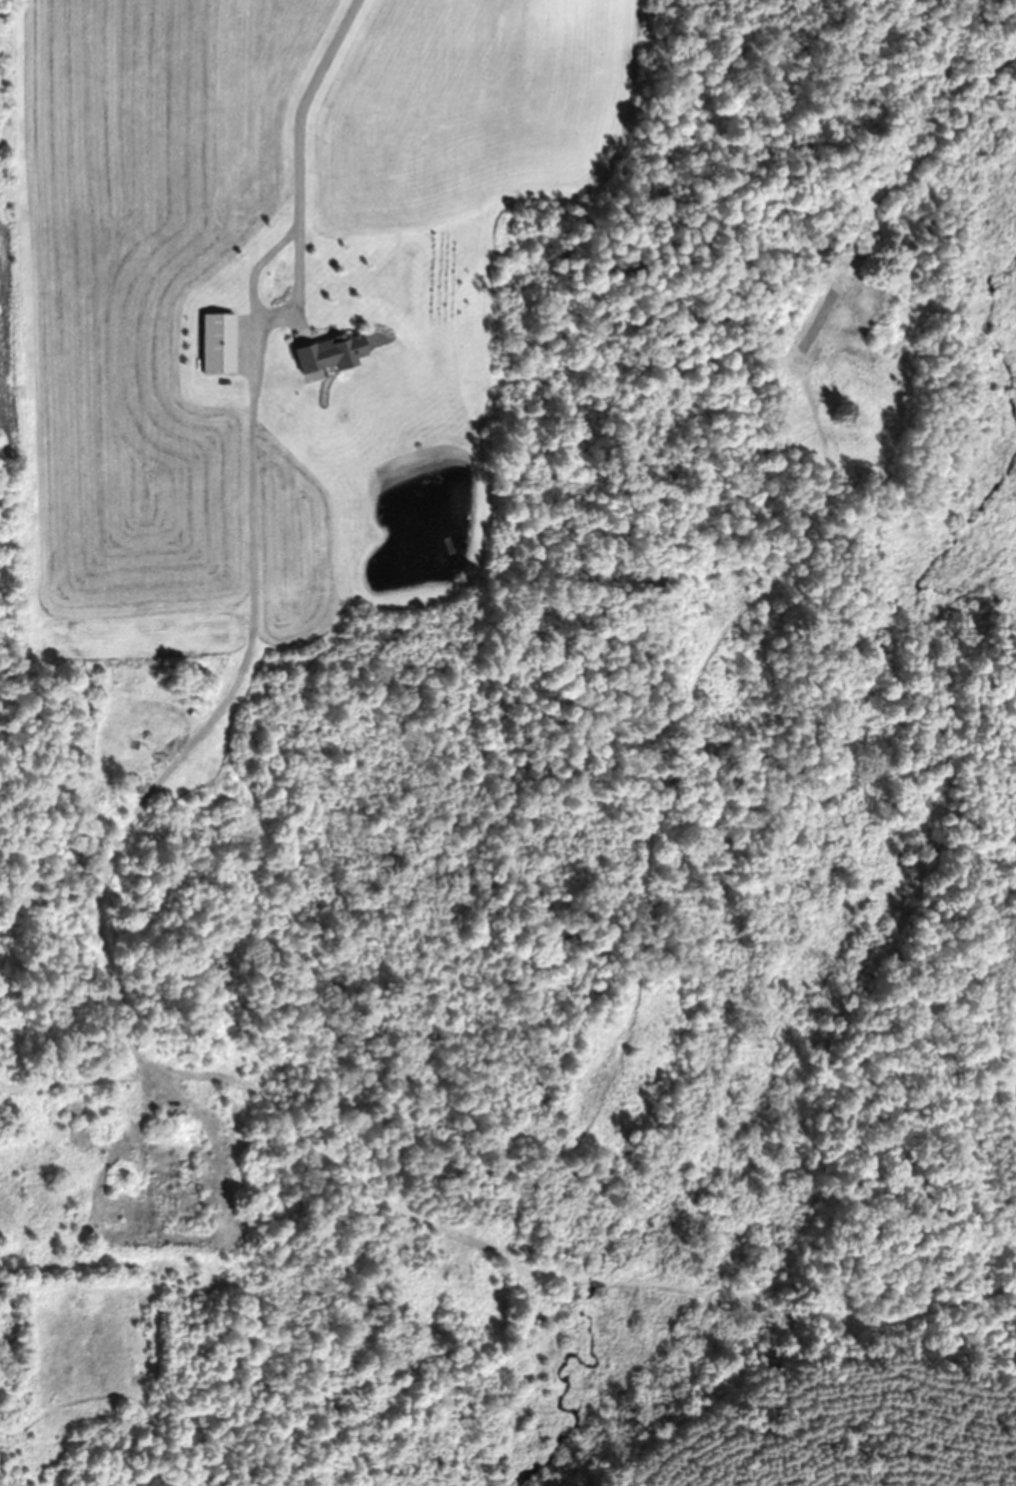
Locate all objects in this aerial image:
building: (221, 342)
building: (337, 352)

